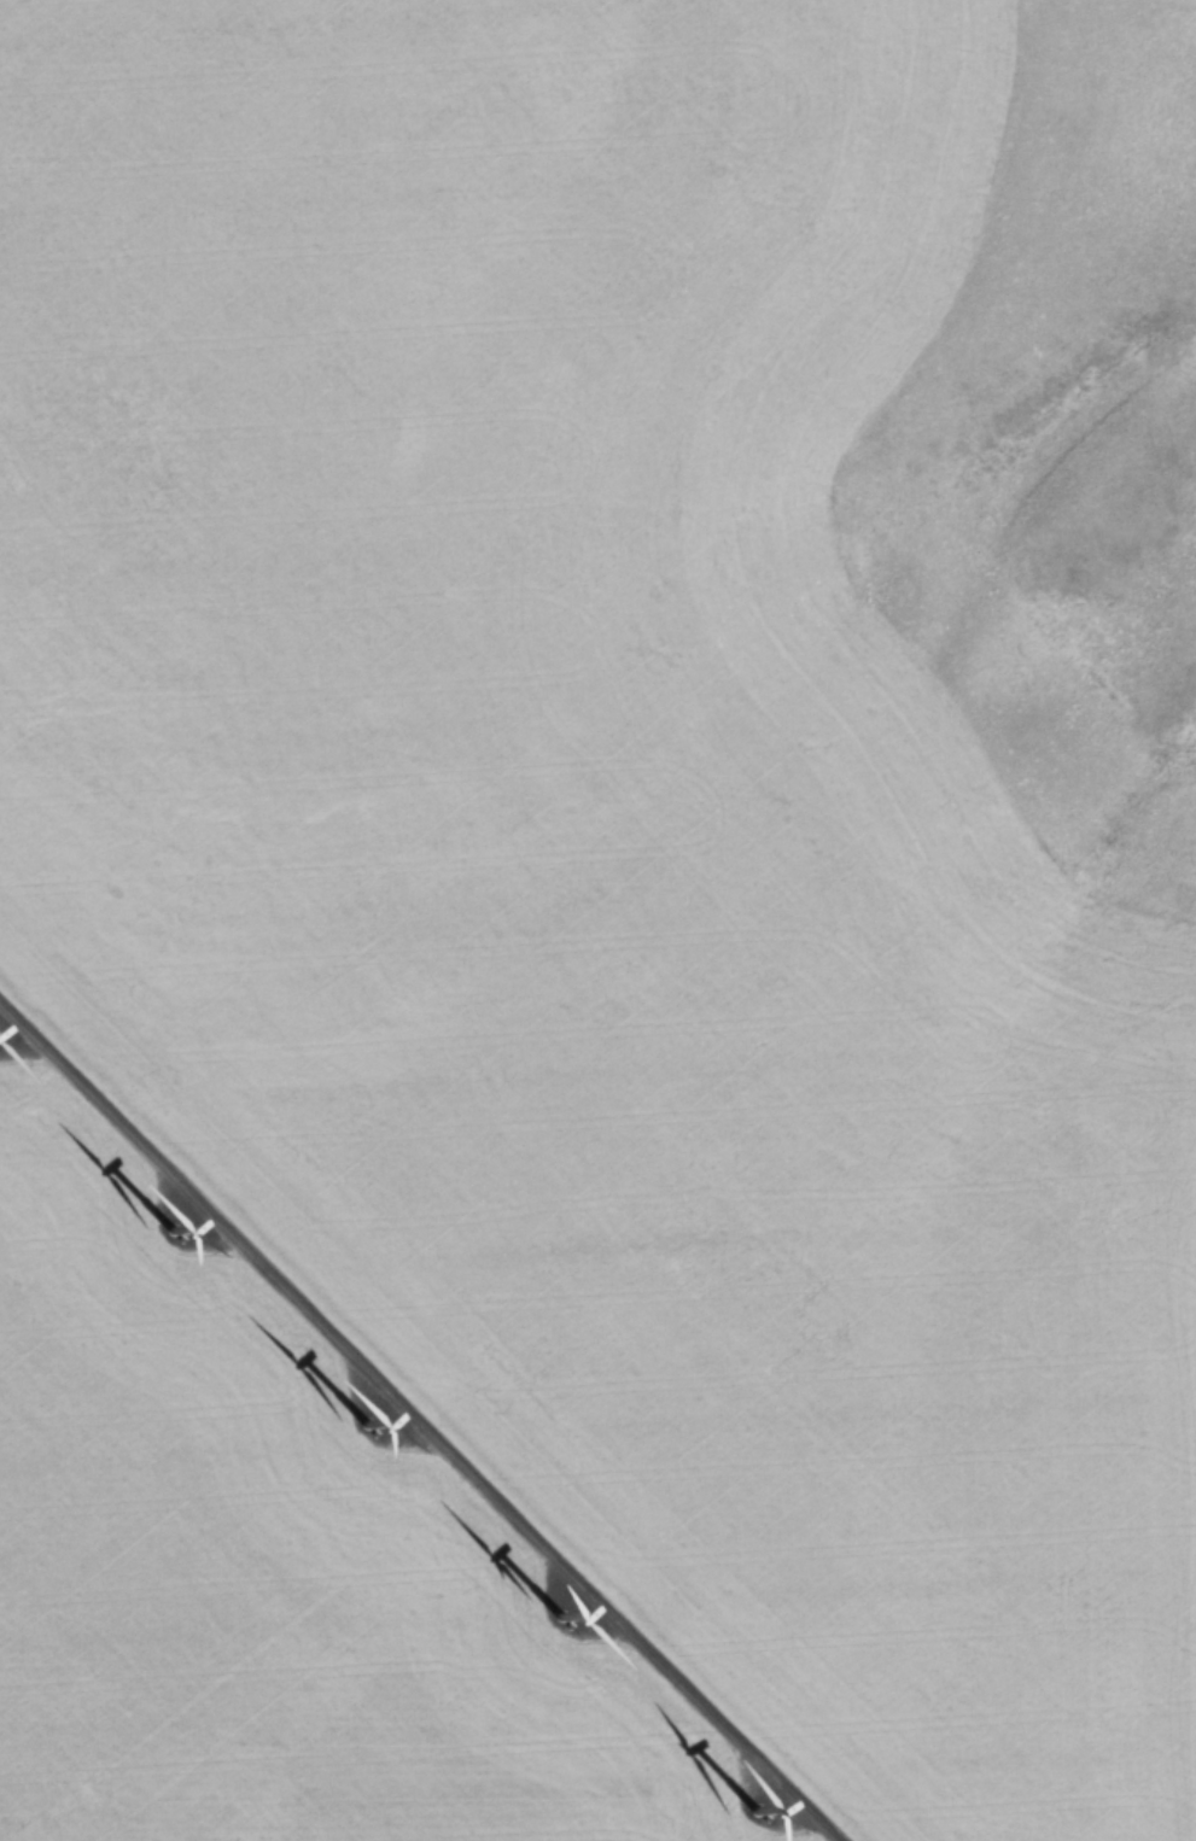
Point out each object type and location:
wind turbine: (170, 1239)
road: (419, 1419)
wind turbine: (366, 1424)
wind turbine: (568, 1612)
wind turbine: (764, 1804)

